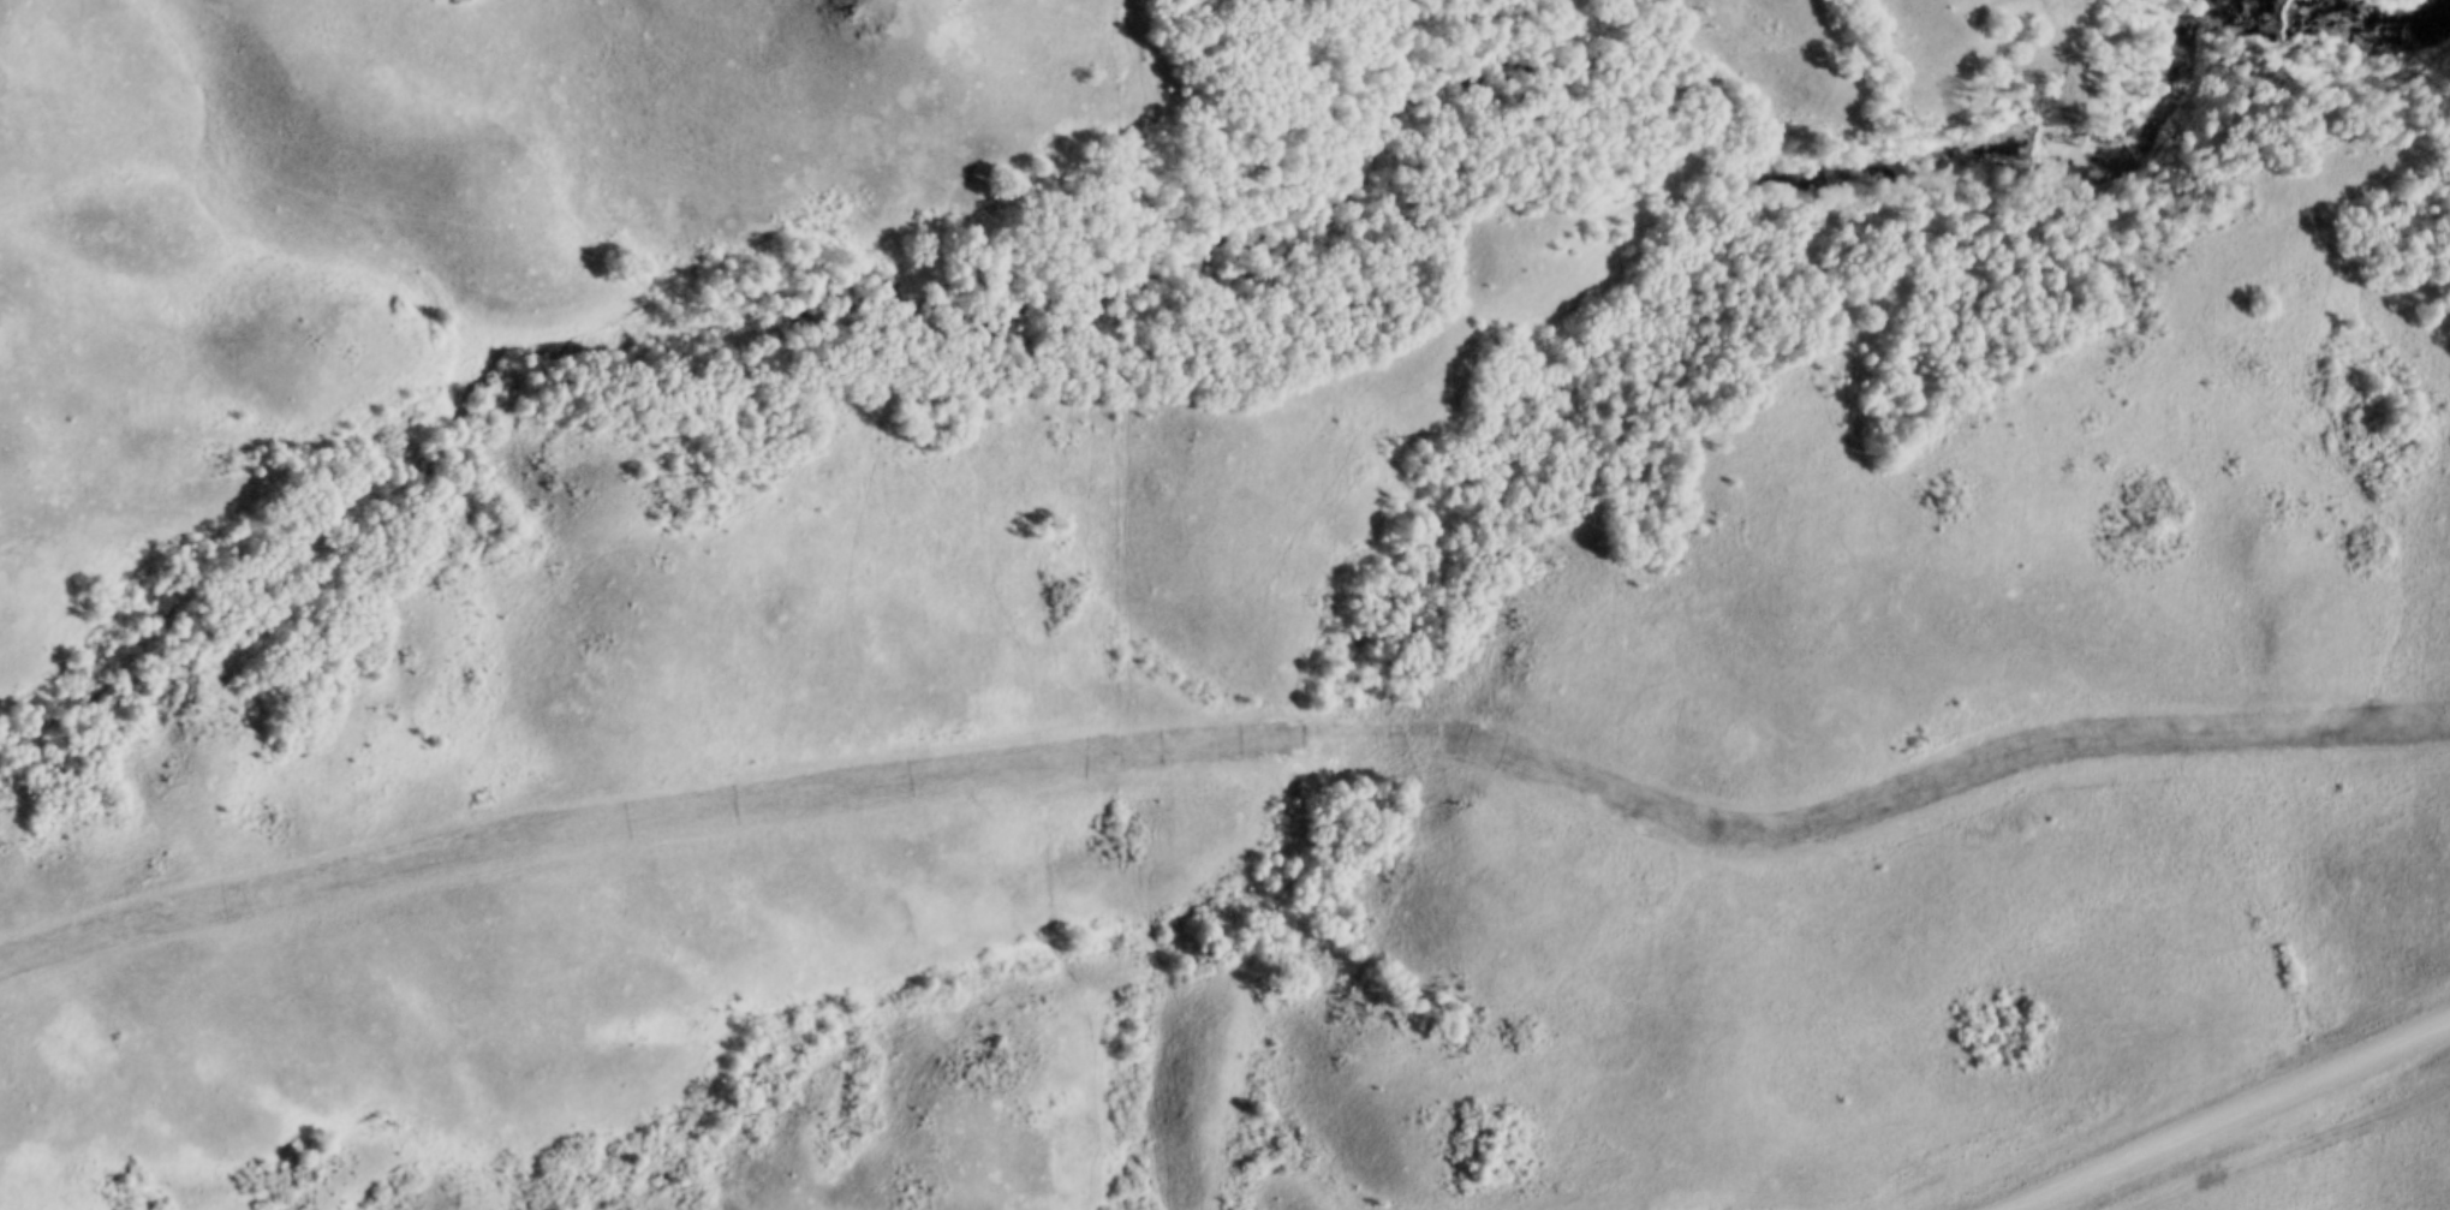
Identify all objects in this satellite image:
road: (2216, 1110)

